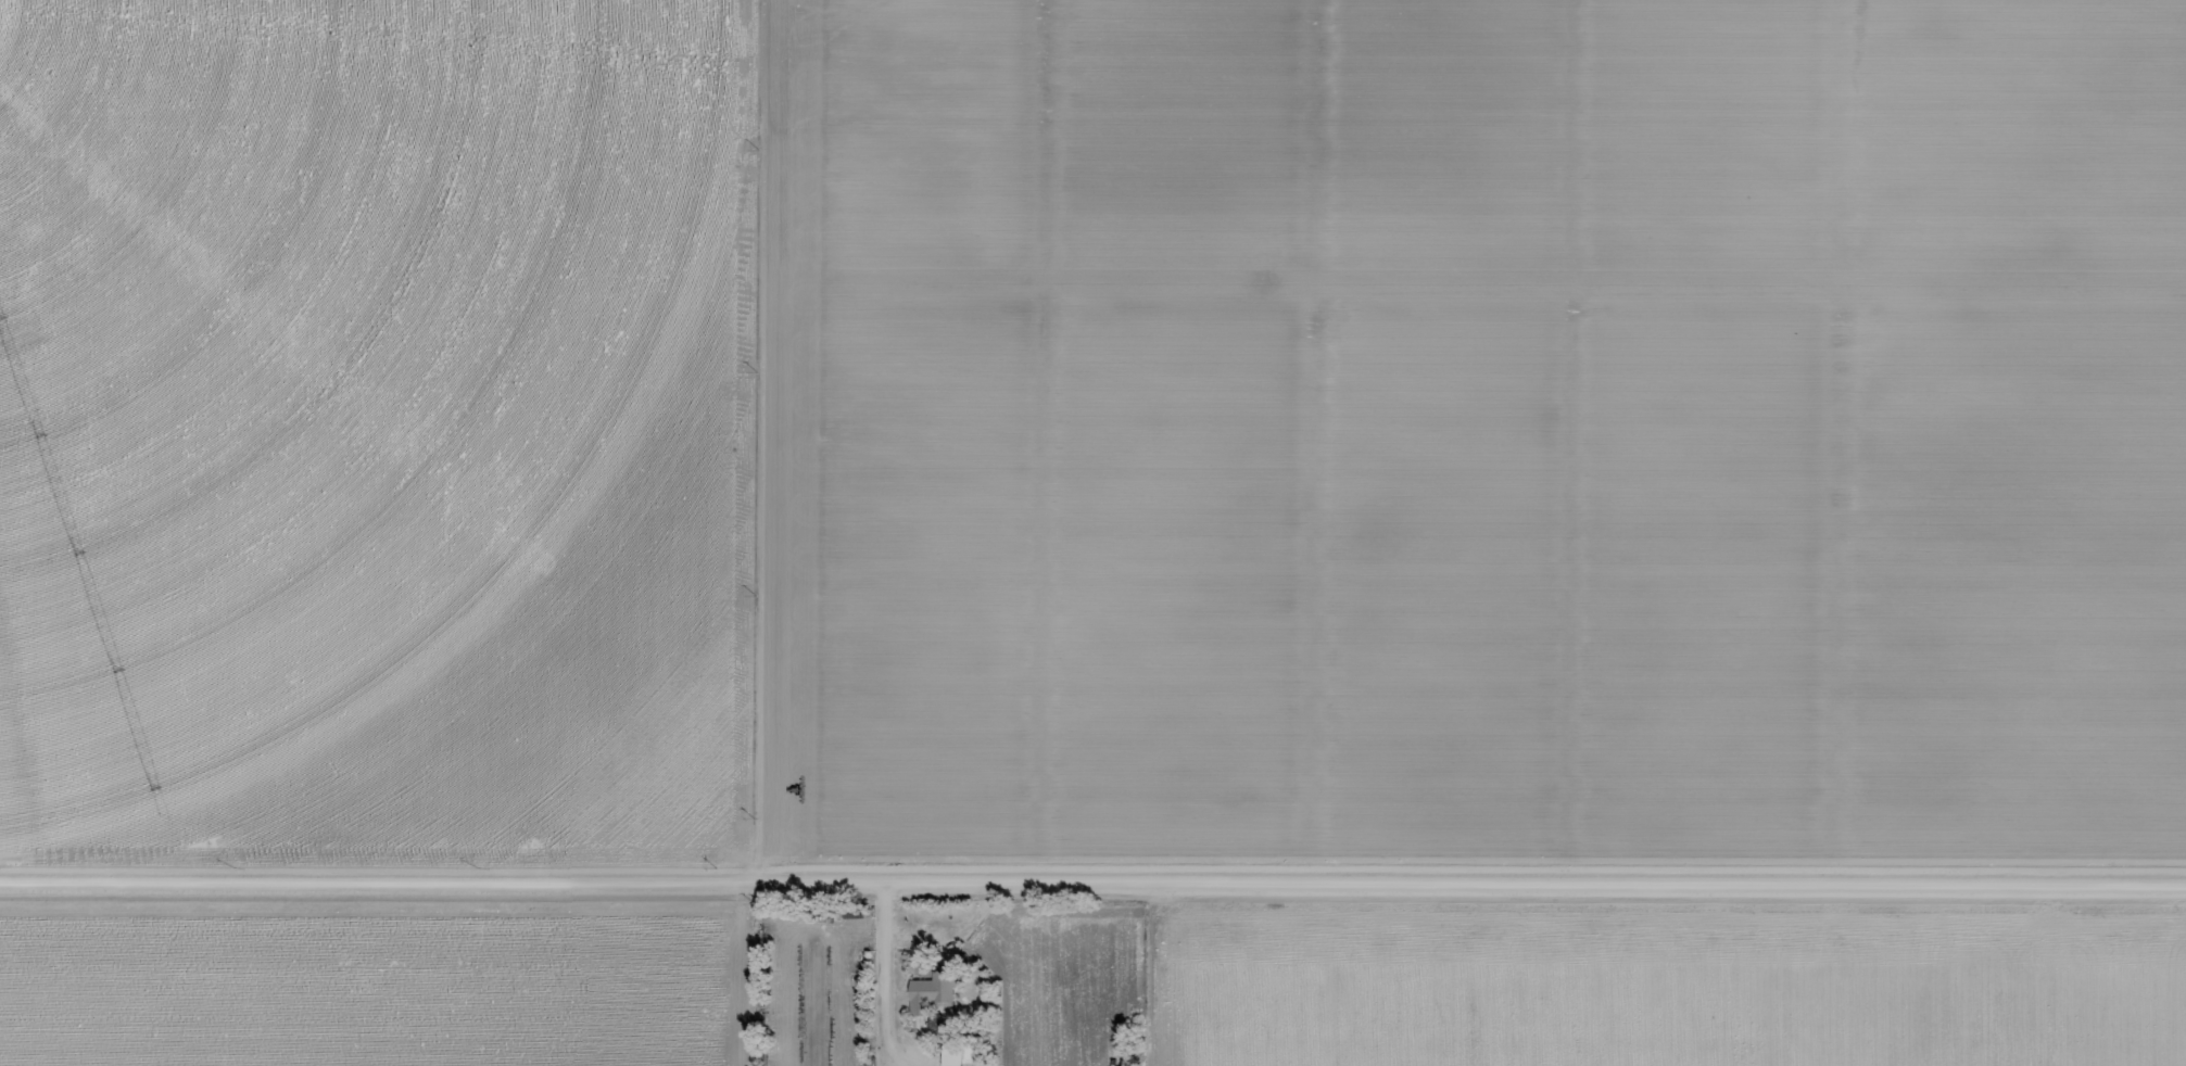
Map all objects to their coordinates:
road: (776, 437)
road: (1092, 866)
road: (776, 970)

